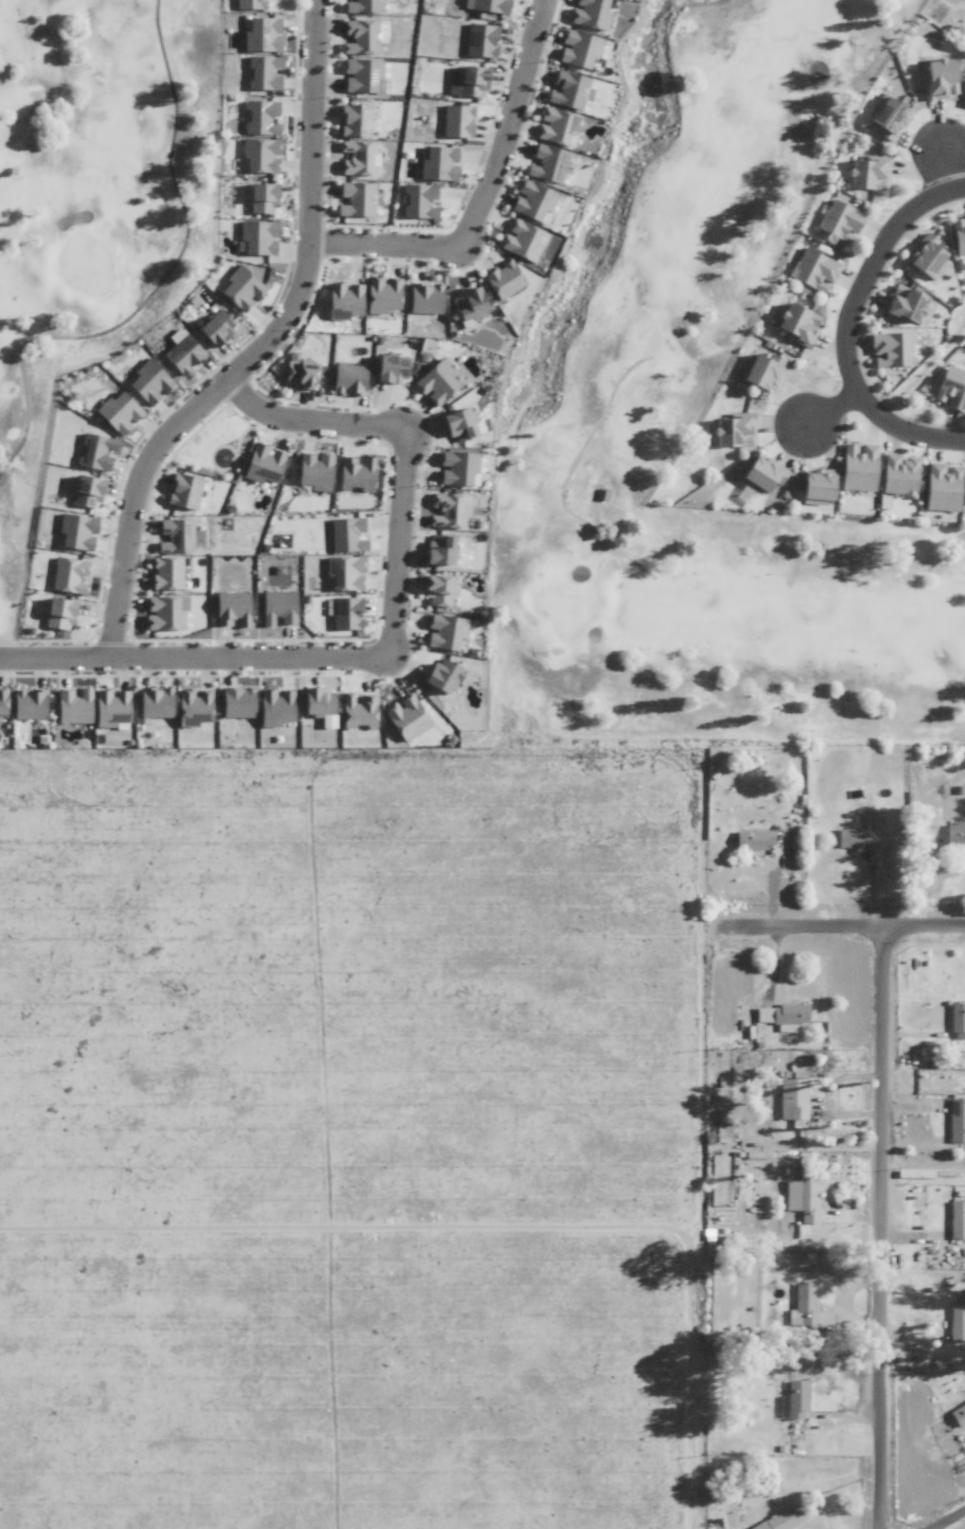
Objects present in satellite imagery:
building: (248, 3)
building: (360, 5)
building: (489, 5)
building: (590, 13)
building: (260, 33)
building: (358, 35)
building: (479, 39)
building: (577, 47)
building: (261, 71)
building: (361, 74)
building: (936, 78)
building: (469, 79)
building: (565, 88)
building: (963, 97)
building: (438, 111)
building: (886, 115)
building: (260, 116)
building: (353, 118)
building: (456, 119)
building: (556, 126)
building: (257, 154)
park: (87, 155)
building: (355, 157)
building: (437, 162)
building: (545, 162)
building: (867, 171)
road: (482, 196)
building: (259, 197)
building: (353, 198)
building: (418, 199)
building: (531, 200)
building: (838, 220)
building: (958, 234)
building: (256, 237)
building: (520, 239)
building: (926, 255)
building: (812, 269)
building: (502, 279)
road: (159, 281)
building: (239, 287)
building: (381, 294)
building: (424, 296)
building: (342, 298)
building: (467, 303)
building: (905, 304)
building: (795, 324)
road: (849, 326)
building: (214, 327)
road: (260, 346)
building: (890, 348)
building: (181, 353)
building: (389, 367)
building: (758, 369)
park: (630, 370)
building: (298, 373)
building: (346, 378)
building: (146, 380)
building: (435, 382)
building: (950, 387)
road: (820, 407)
building: (116, 410)
building: (455, 424)
building: (732, 429)
building: (94, 452)
building: (261, 464)
building: (457, 467)
building: (856, 467)
building: (312, 469)
building: (354, 472)
building: (760, 473)
road: (568, 474)
building: (897, 475)
building: (815, 483)
building: (941, 486)
building: (182, 490)
building: (85, 491)
building: (602, 493)
building: (964, 499)
building: (446, 509)
building: (76, 532)
building: (345, 533)
building: (173, 534)
building: (437, 549)
building: (164, 572)
building: (342, 572)
building: (67, 574)
building: (435, 588)
building: (230, 607)
building: (277, 607)
building: (344, 611)
building: (162, 612)
building: (57, 613)
building: (443, 631)
road: (392, 639)
building: (441, 676)
building: (316, 700)
building: (2, 701)
building: (236, 702)
building: (28, 703)
building: (154, 703)
building: (72, 705)
building: (191, 706)
building: (274, 706)
building: (109, 707)
building: (357, 710)
building: (405, 716)
road: (837, 731)
building: (954, 836)
building: (854, 837)
building: (752, 838)
road: (835, 924)
building: (782, 1015)
building: (957, 1020)
building: (791, 1098)
building: (956, 1120)
crop: (341, 1138)
building: (801, 1199)
building: (956, 1219)
road: (885, 1226)
road: (705, 1230)
road: (352, 1234)
building: (802, 1305)
building: (956, 1322)
building: (792, 1399)
building: (957, 1413)
road: (951, 1520)

